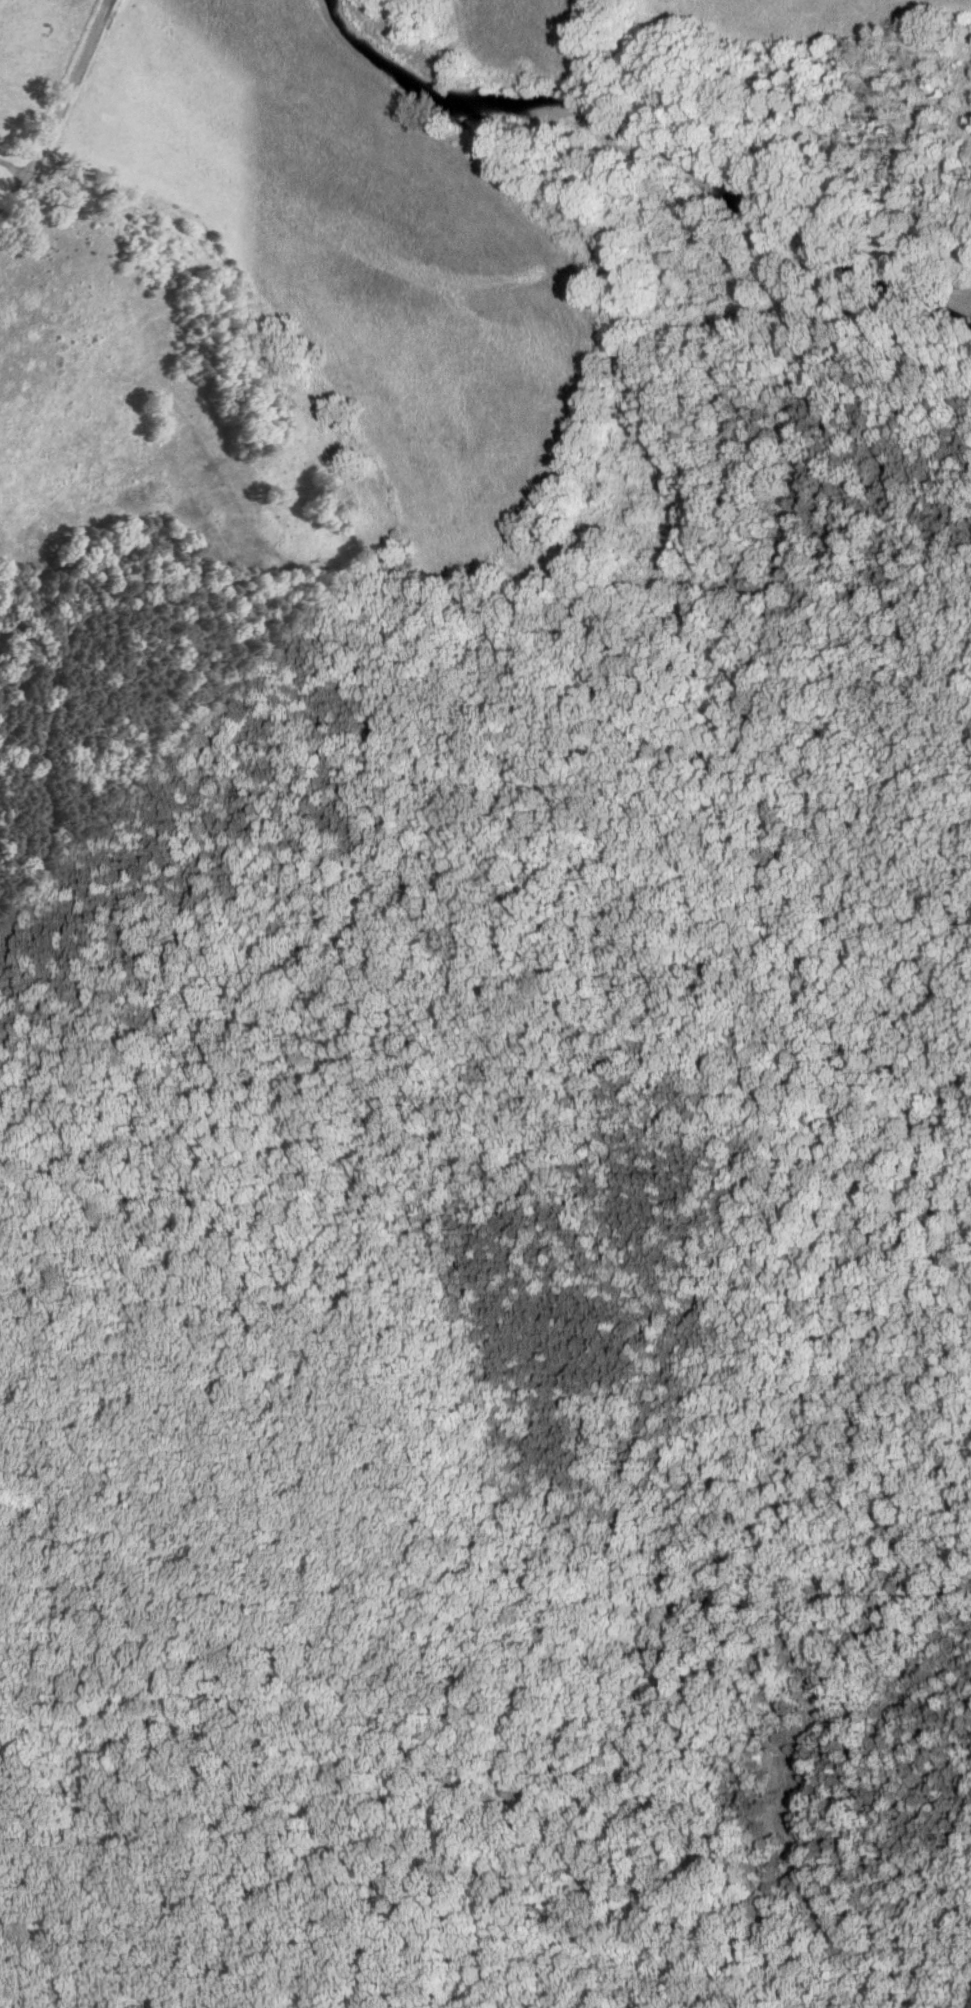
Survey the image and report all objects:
road: (61, 115)

